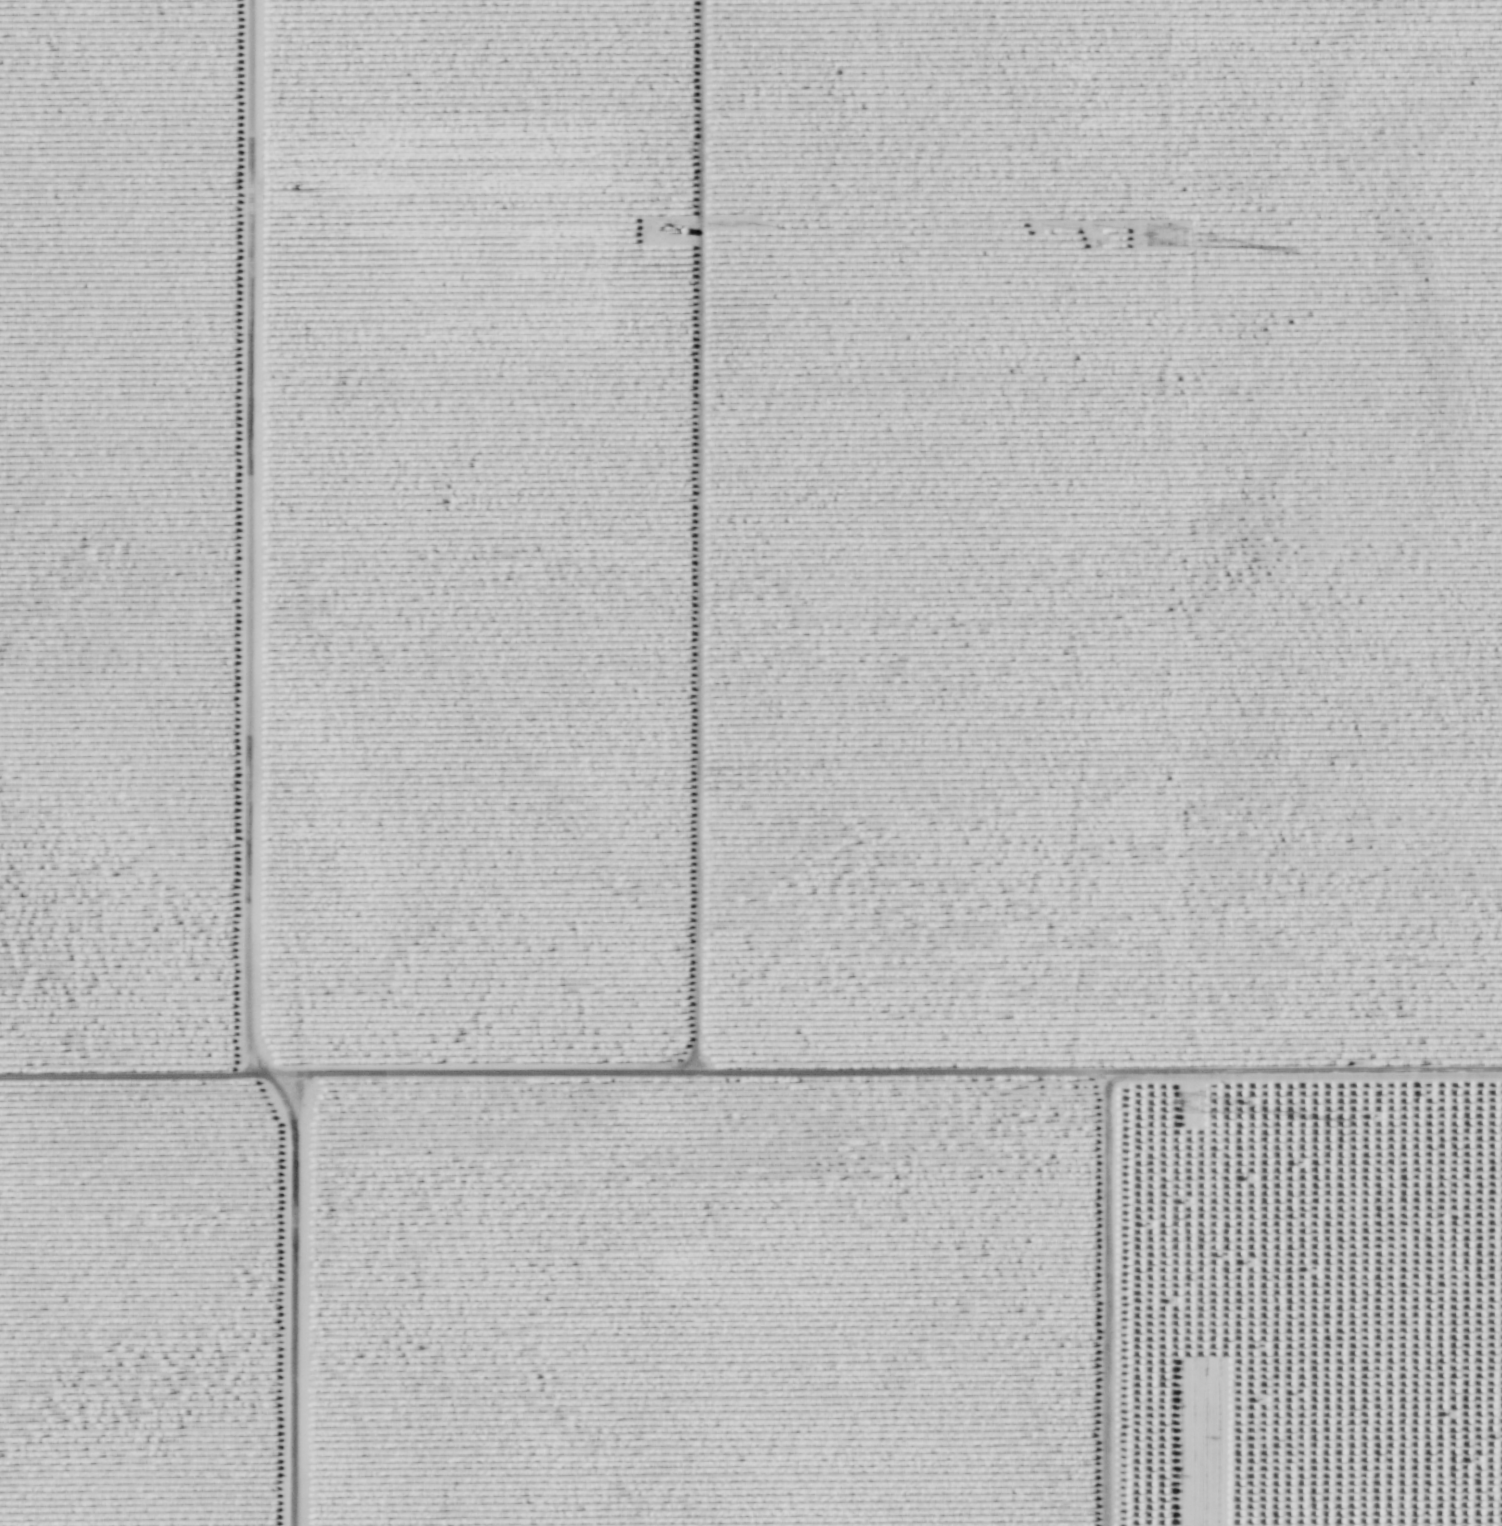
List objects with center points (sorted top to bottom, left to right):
power tower: (1156, 237)
power tower: (1189, 1101)

